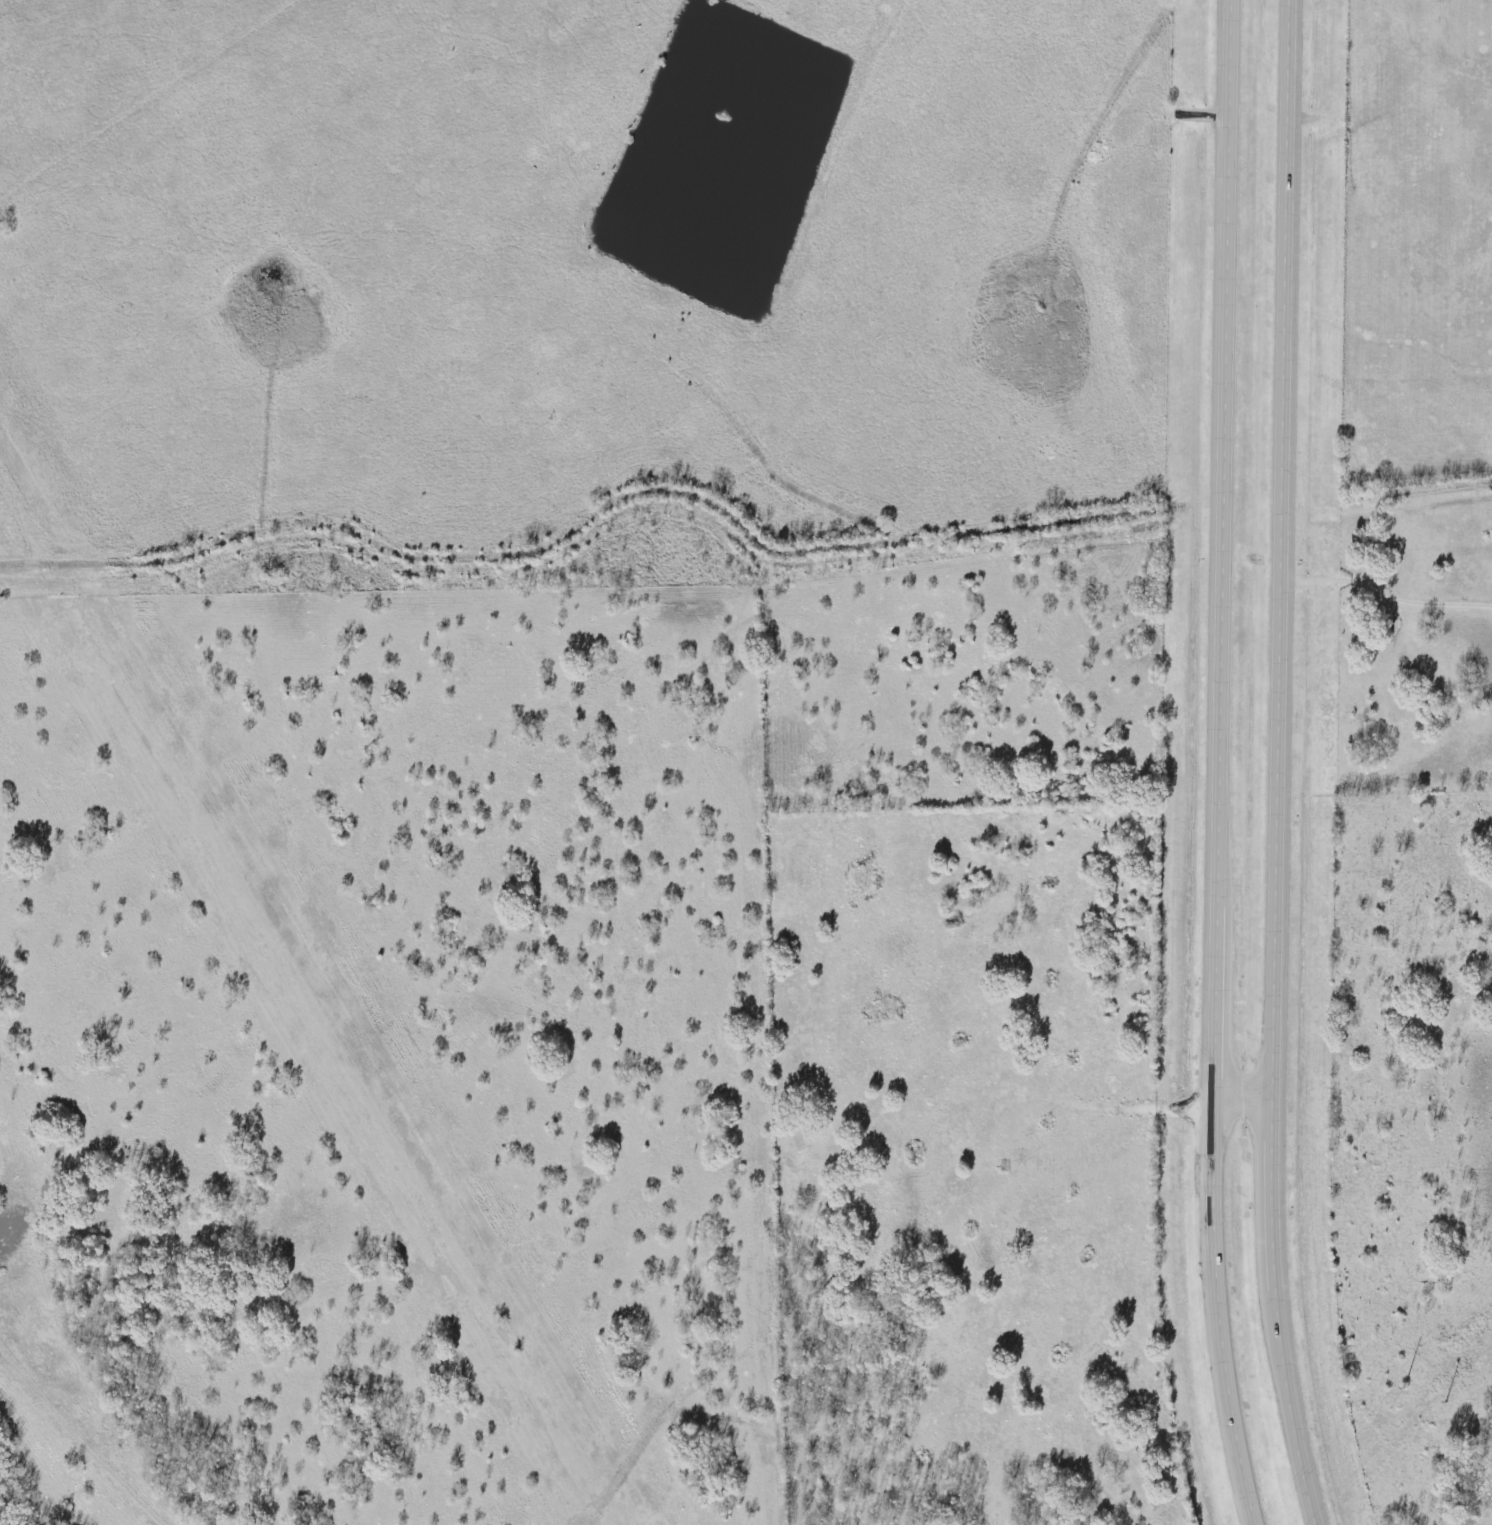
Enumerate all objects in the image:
road: (1386, 596)
road: (1221, 764)
road: (1279, 764)
road: (1245, 1091)
power tower: (1407, 1383)

